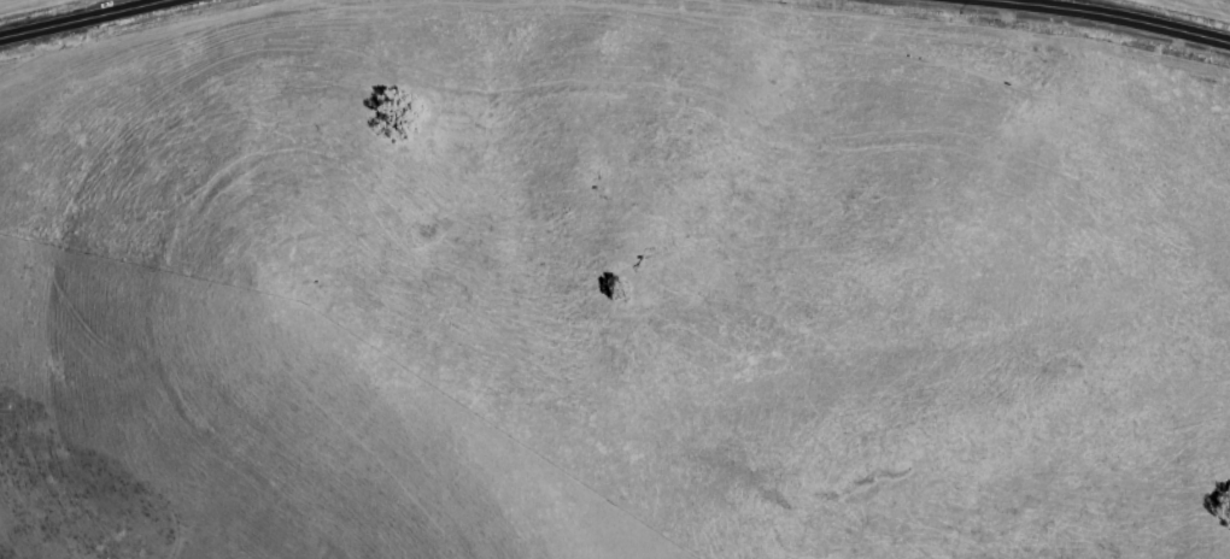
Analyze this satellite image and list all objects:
road: (1107, 17)
road: (104, 22)
park: (705, 240)

